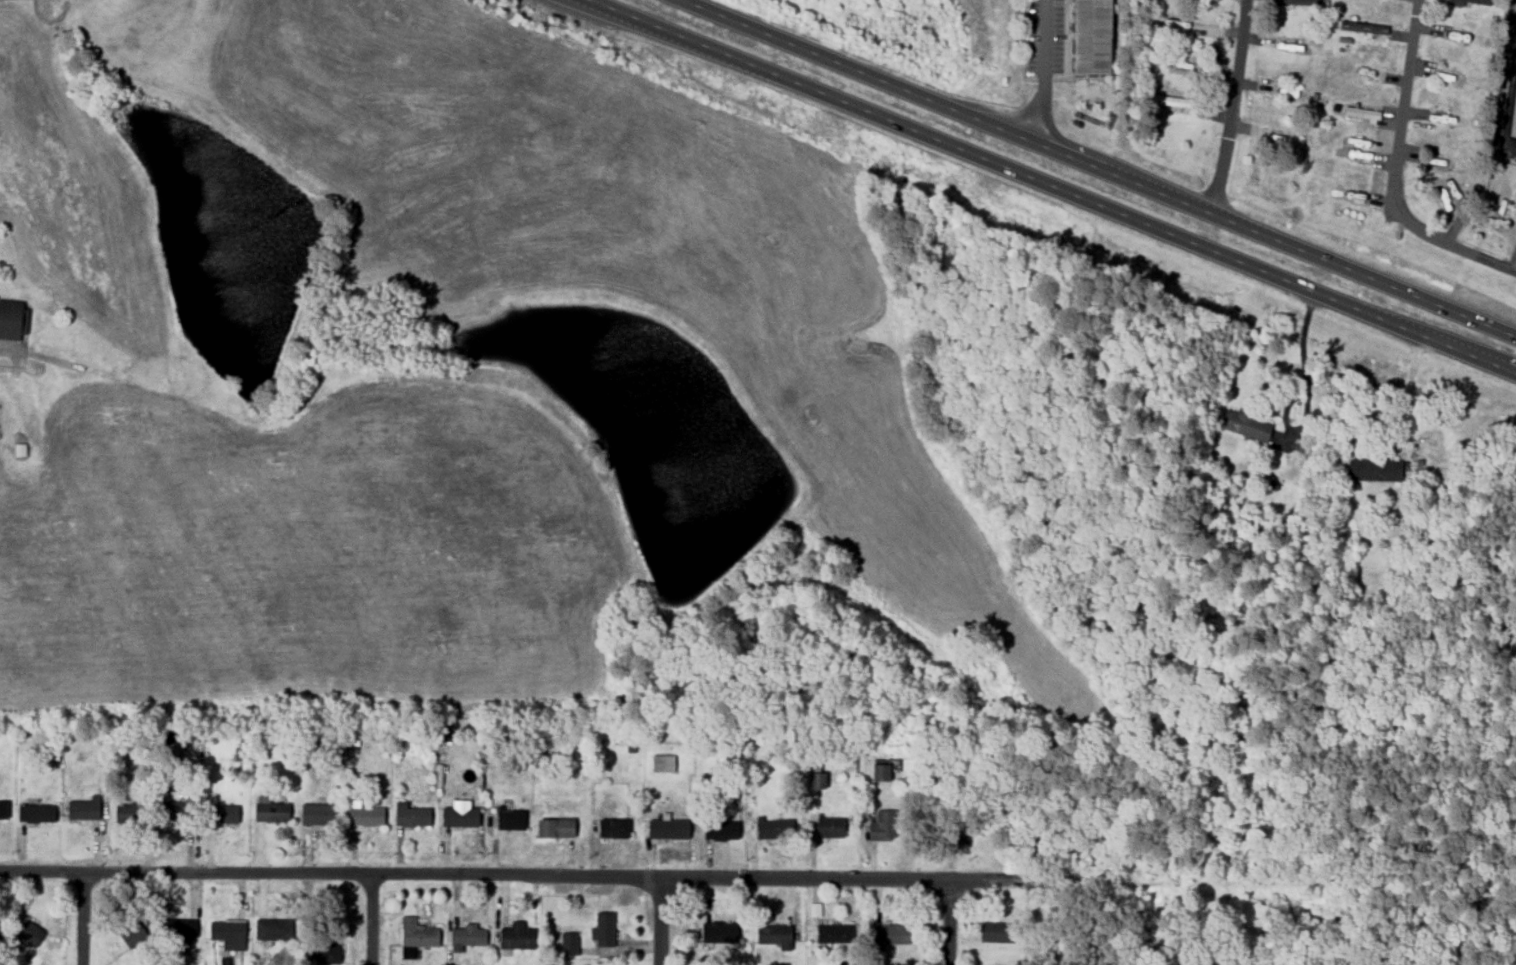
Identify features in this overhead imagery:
building: (1300, 1)
building: (1472, 1)
building: (1364, 27)
building: (1090, 37)
road: (1044, 72)
road: (1233, 108)
building: (1512, 110)
road: (1097, 168)
road: (1395, 173)
road: (1049, 188)
building: (13, 319)
road: (1302, 388)
road: (1406, 392)
building: (1244, 424)
building: (1373, 470)
building: (661, 764)
building: (879, 773)
building: (815, 781)
building: (85, 808)
building: (4, 809)
building: (176, 811)
building: (270, 812)
building: (35, 813)
building: (126, 814)
building: (224, 814)
building: (315, 814)
building: (364, 814)
building: (410, 816)
building: (458, 817)
building: (510, 820)
building: (881, 827)
building: (554, 828)
building: (829, 828)
building: (612, 829)
building: (666, 829)
building: (773, 829)
building: (722, 831)
road: (507, 875)
road: (82, 919)
road: (369, 919)
road: (659, 921)
road: (945, 922)
building: (603, 929)
building: (0, 930)
building: (180, 930)
building: (270, 931)
building: (227, 933)
building: (717, 933)
building: (997, 933)
building: (833, 934)
building: (772, 935)
building: (891, 935)
building: (28, 936)
building: (132, 936)
building: (467, 936)
building: (417, 937)
building: (515, 937)
building: (568, 944)
building: (326, 955)

